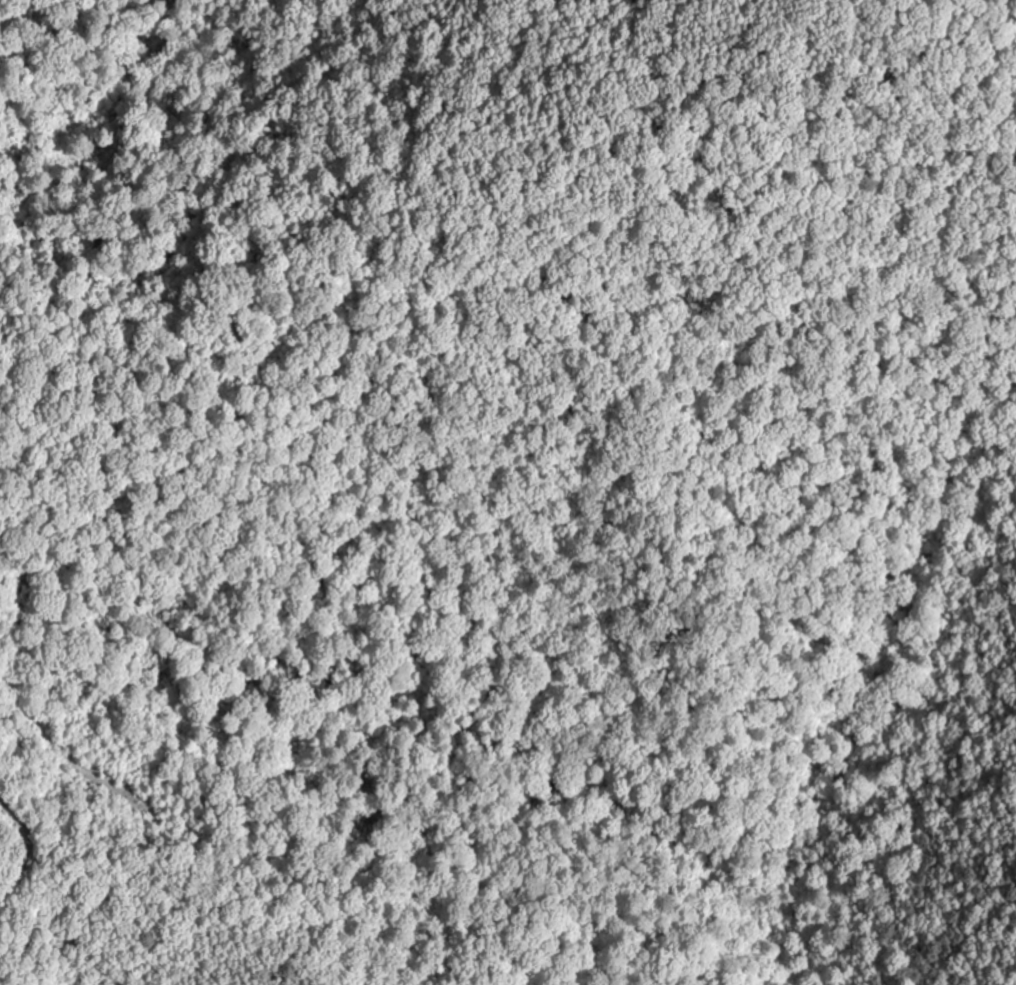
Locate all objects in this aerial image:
road: (890, 135)

